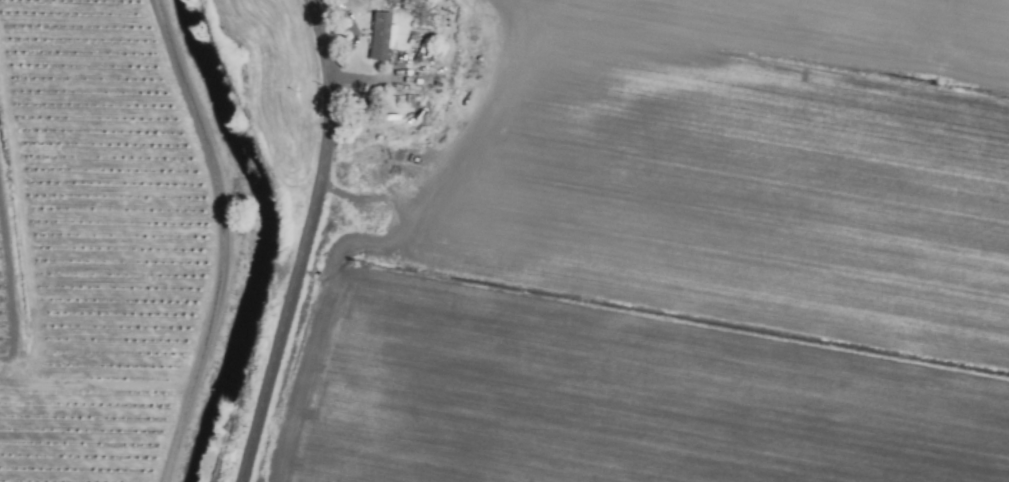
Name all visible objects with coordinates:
building: (382, 36)
road: (224, 238)
road: (306, 242)
crop: (526, 259)

